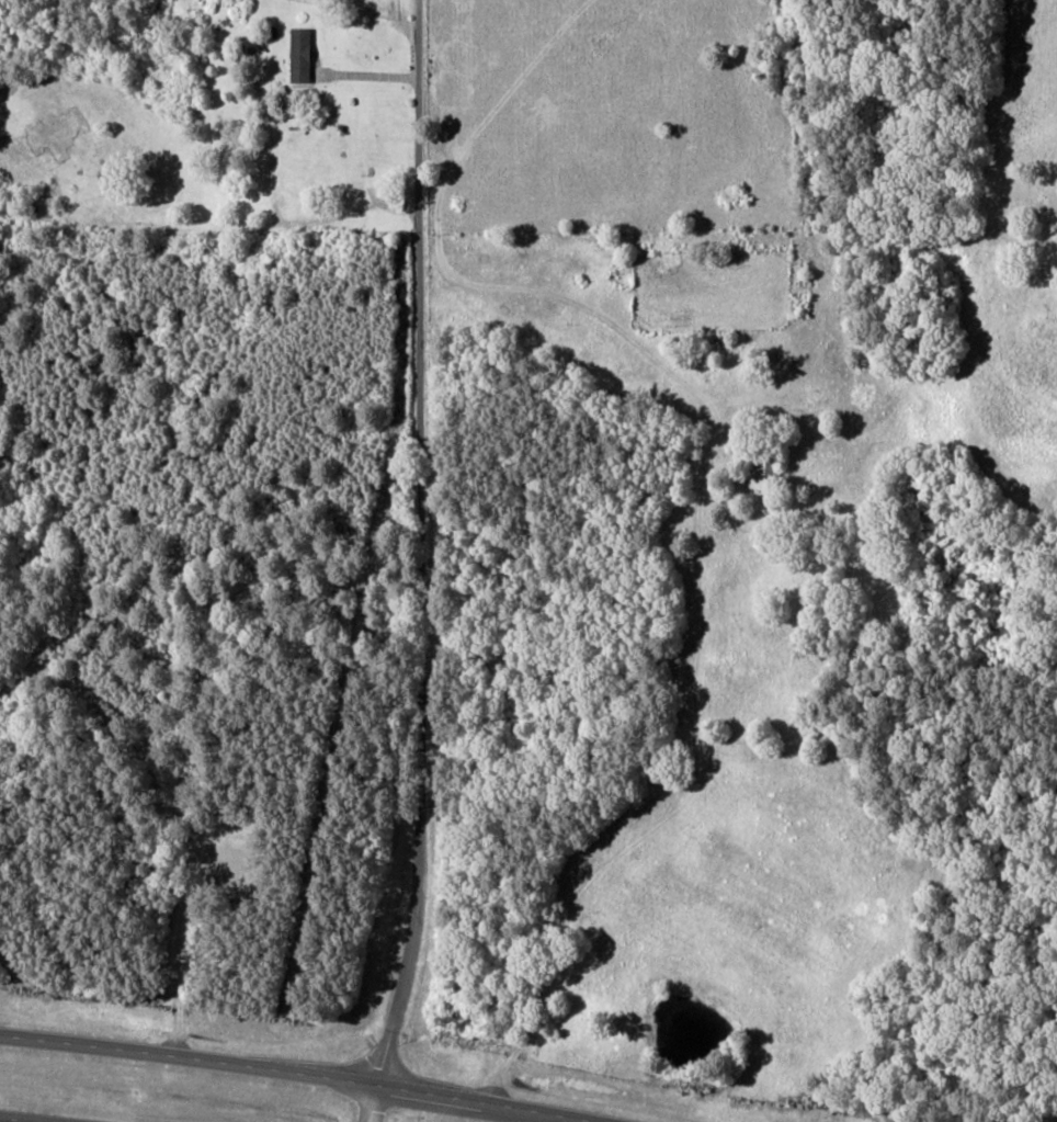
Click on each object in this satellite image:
building: (300, 55)
building: (763, 469)
road: (417, 563)
road: (294, 1073)
road: (10, 1120)

